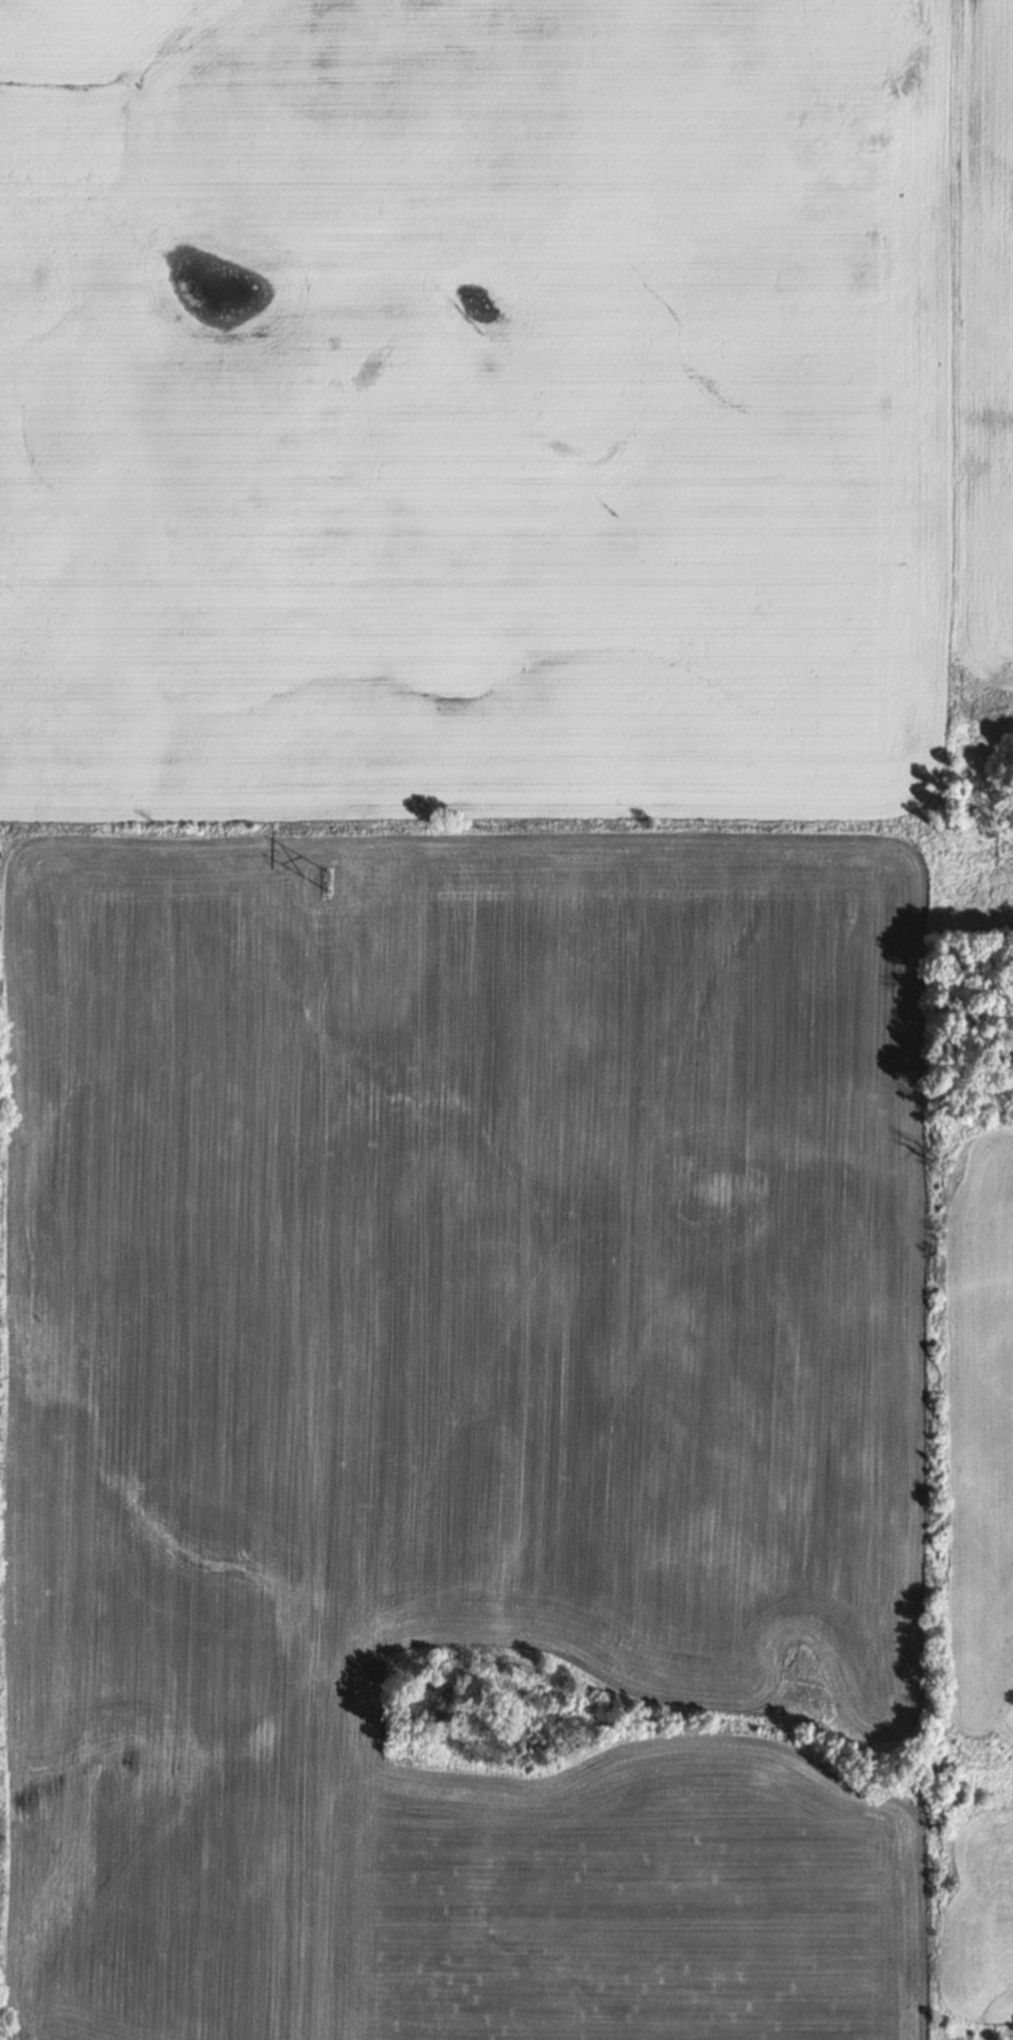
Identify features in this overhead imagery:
power tower: (324, 877)

